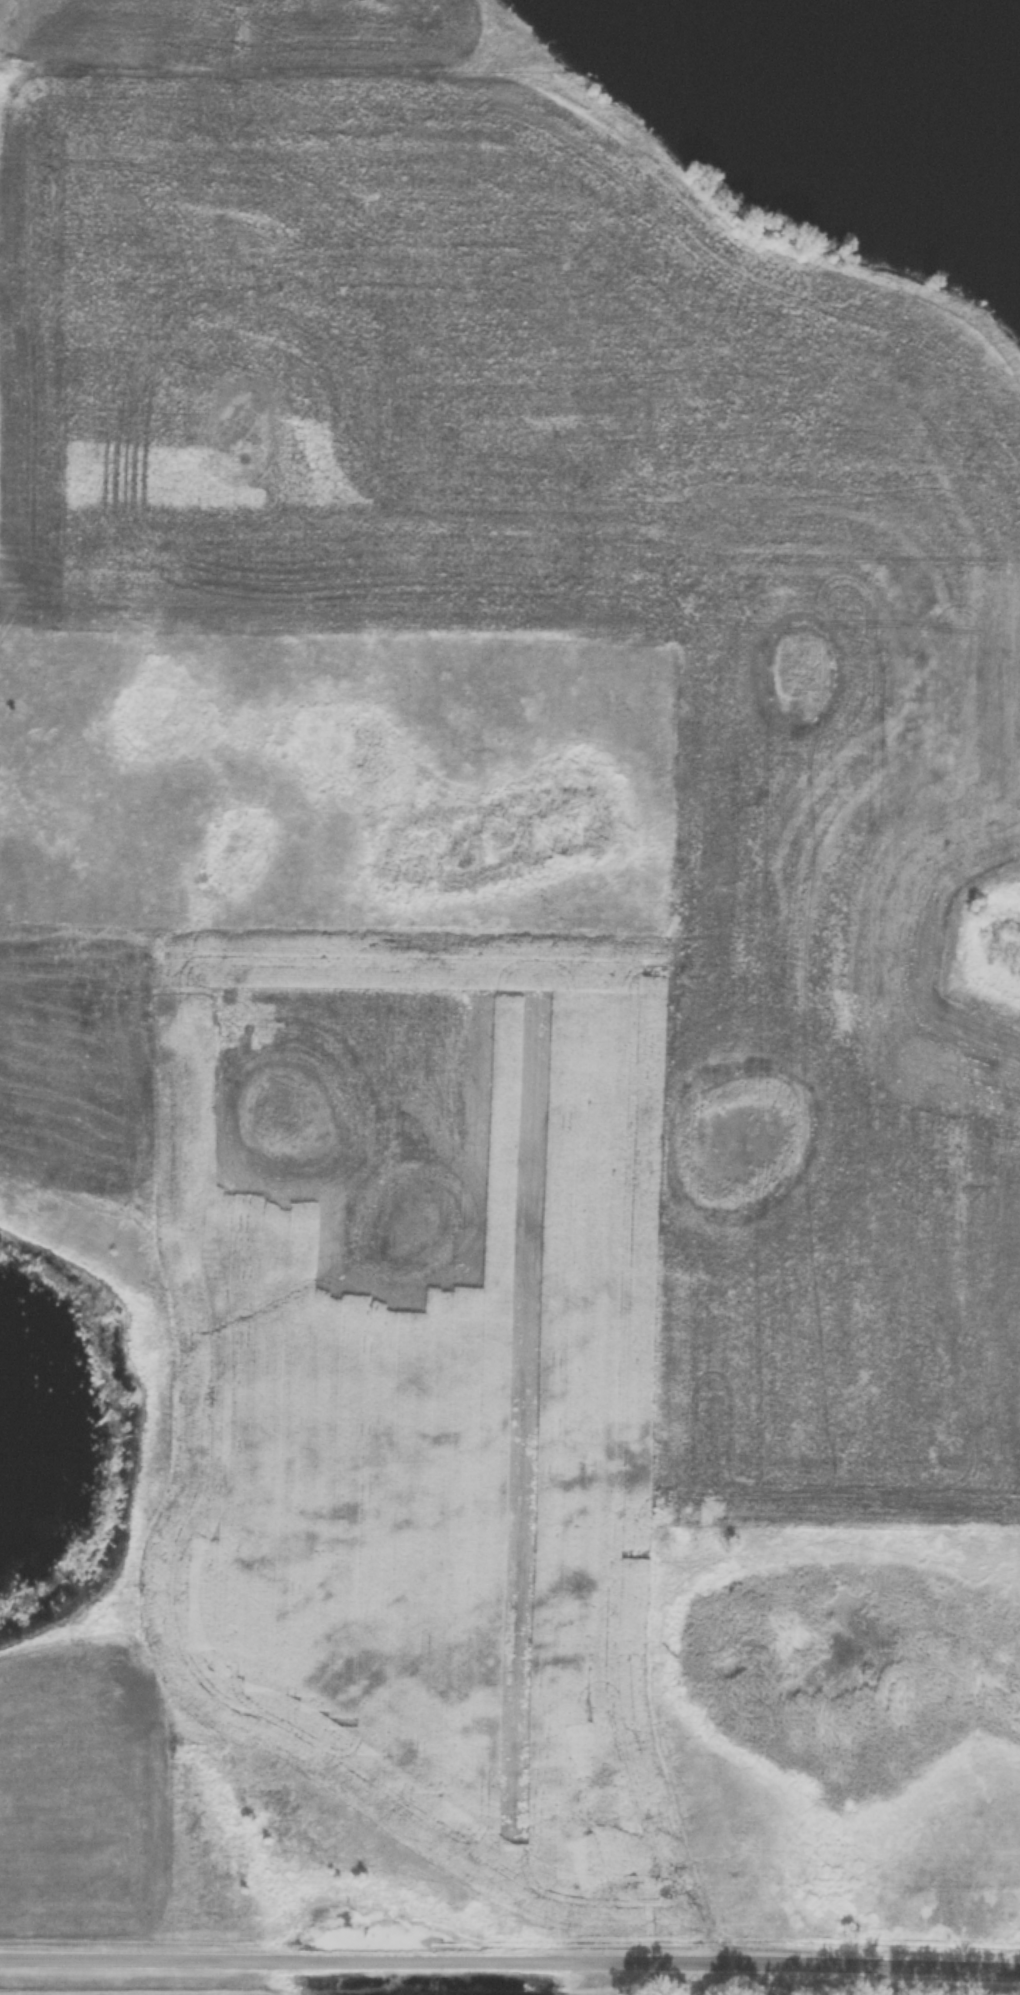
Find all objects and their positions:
road: (509, 1972)

